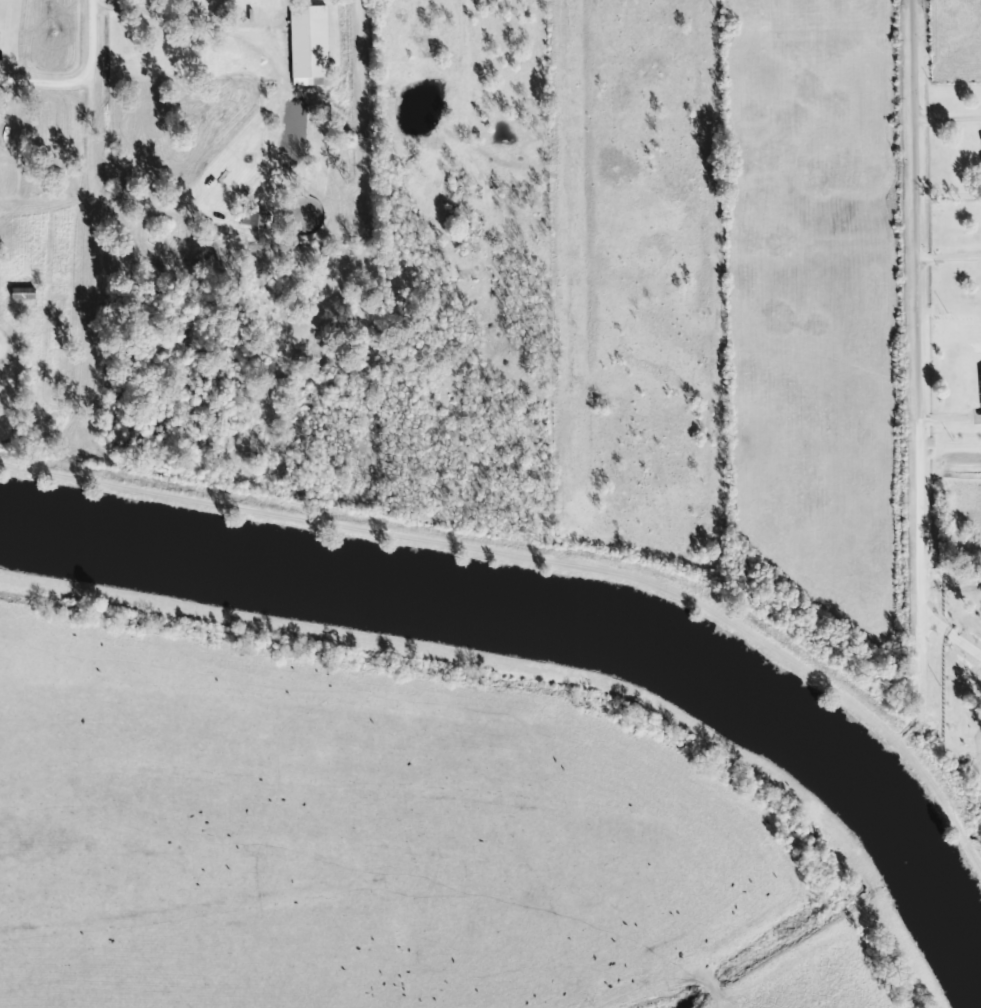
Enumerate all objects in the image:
building: (308, 45)
road: (87, 142)
building: (252, 217)
road: (923, 284)
building: (980, 377)

